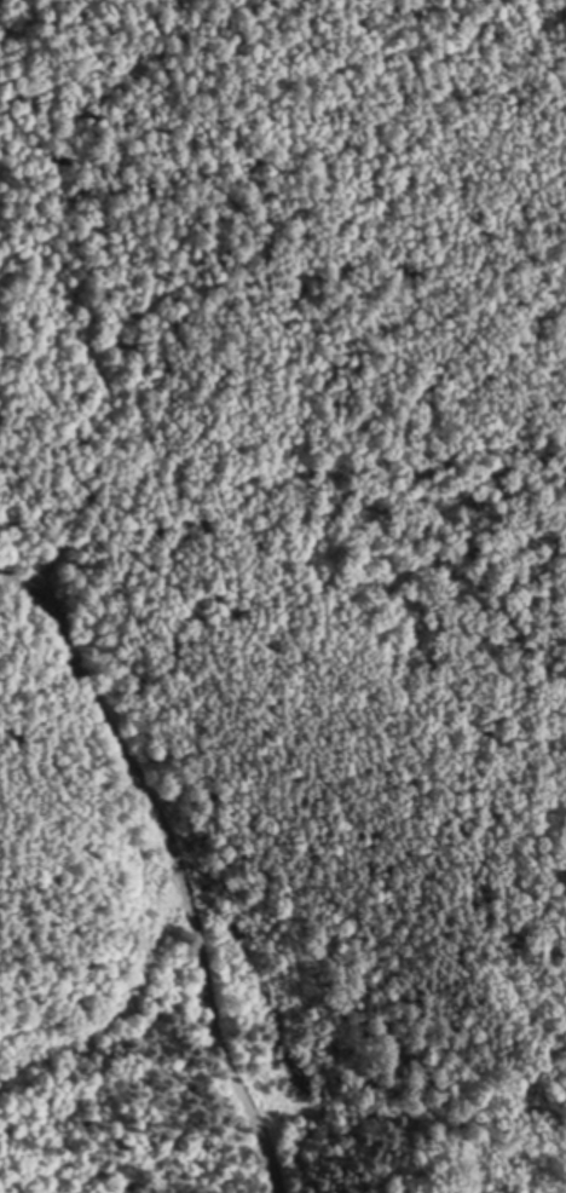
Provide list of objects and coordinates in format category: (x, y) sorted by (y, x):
road: (181, 855)
road: (127, 997)

